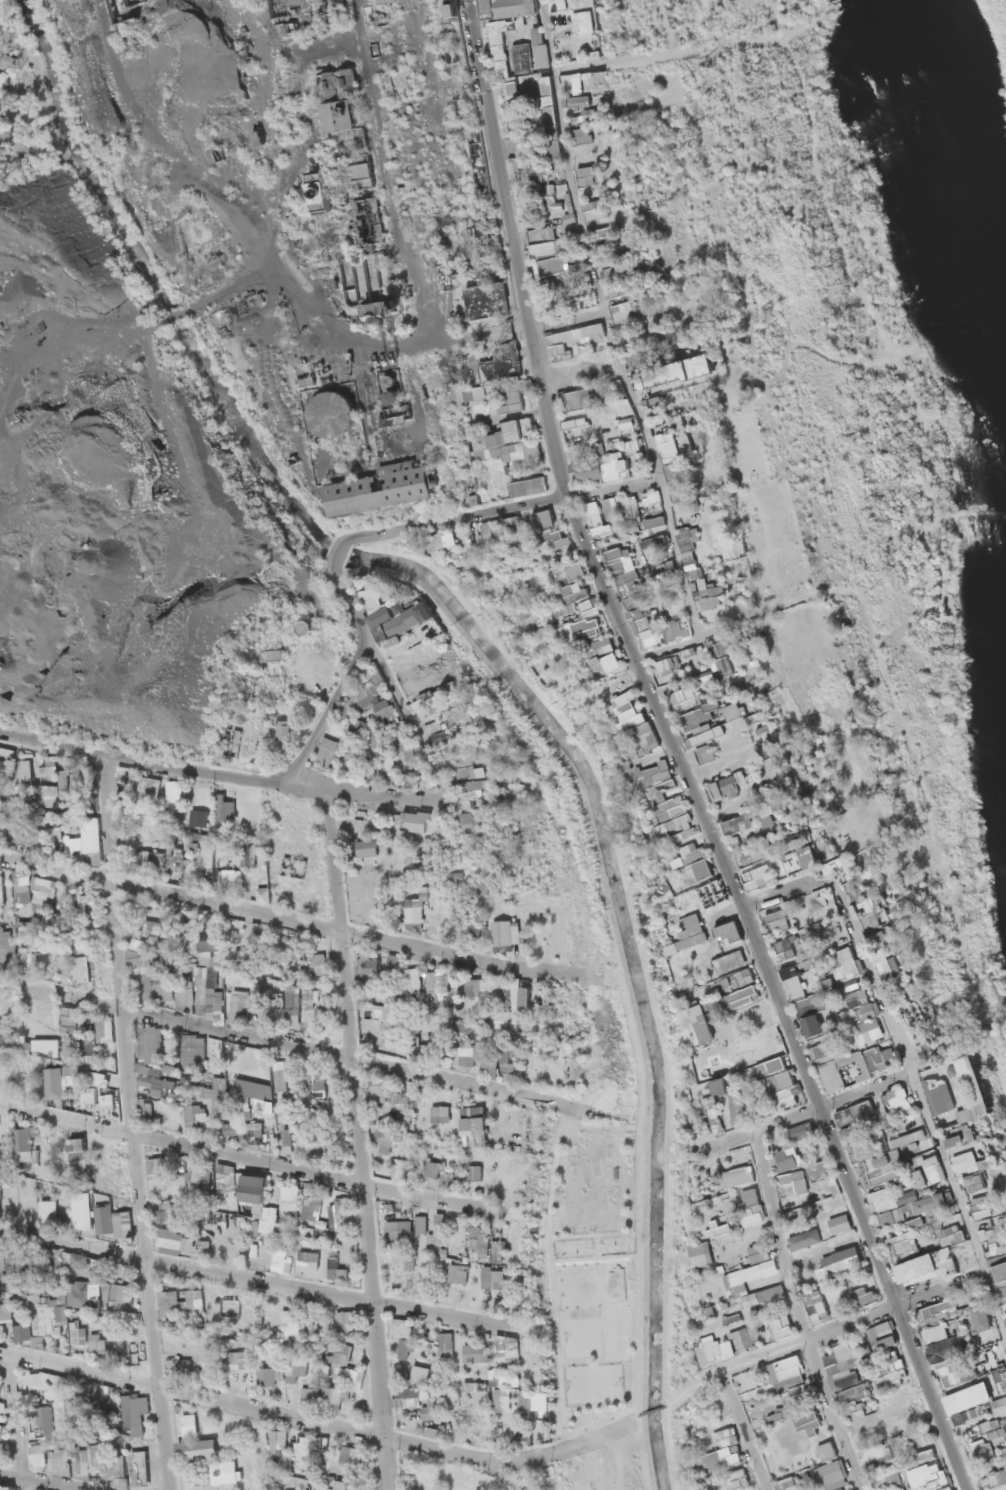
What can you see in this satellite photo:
road: (619, 60)
road: (517, 74)
building: (335, 110)
river: (967, 186)
road: (392, 215)
road: (567, 320)
road: (608, 321)
building: (576, 396)
road: (500, 508)
building: (686, 535)
road: (336, 550)
building: (650, 627)
road: (706, 633)
road: (345, 673)
road: (403, 713)
road: (678, 755)
road: (216, 772)
road: (52, 869)
road: (783, 895)
road: (320, 925)
road: (288, 1044)
road: (922, 1104)
road: (807, 1113)
road: (64, 1117)
road: (128, 1121)
road: (355, 1139)
road: (309, 1173)
building: (915, 1265)
road: (251, 1279)
building: (817, 1307)
road: (798, 1313)
road: (851, 1324)
building: (844, 1348)
building: (845, 1370)
building: (426, 1404)
road: (312, 1420)
road: (744, 1433)
building: (981, 1443)
building: (871, 1451)
building: (283, 1457)
road: (38, 1482)

